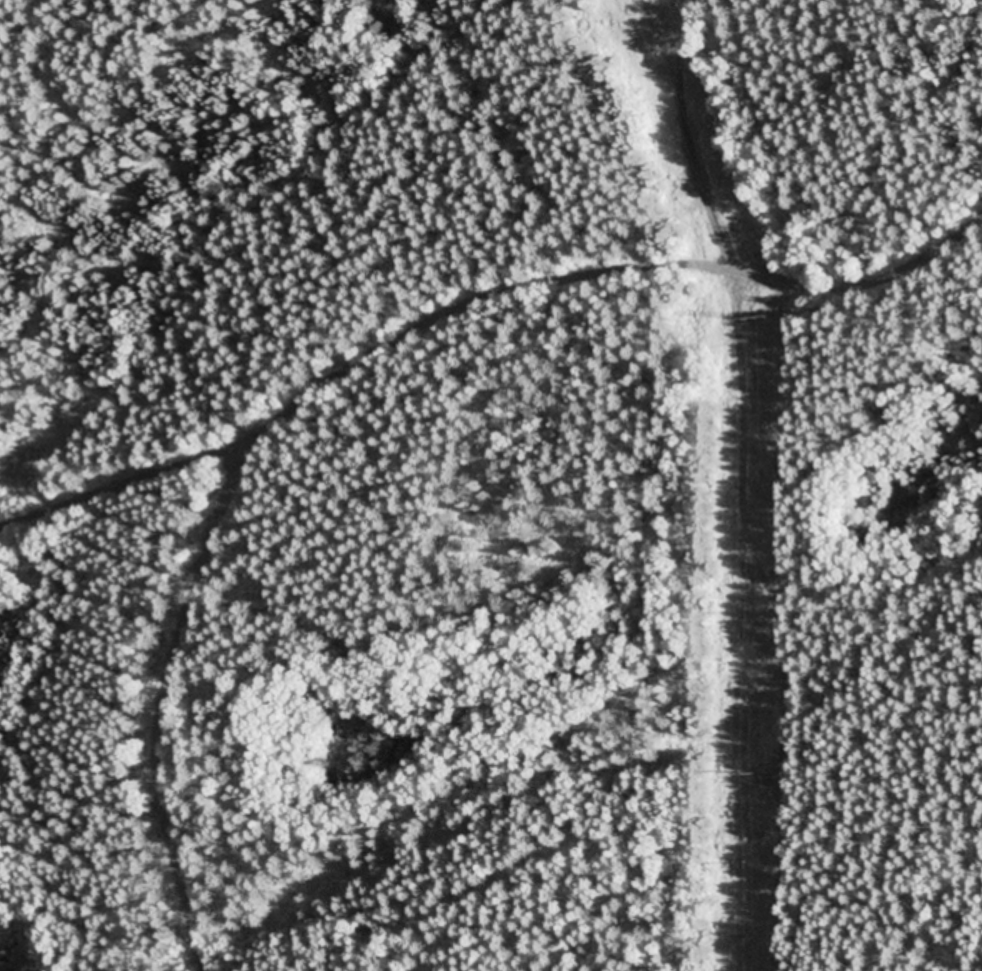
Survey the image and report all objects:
road: (584, 283)
power tower: (758, 319)
road: (736, 400)
road: (104, 489)
road: (152, 718)
power tower: (751, 775)
road: (506, 919)

